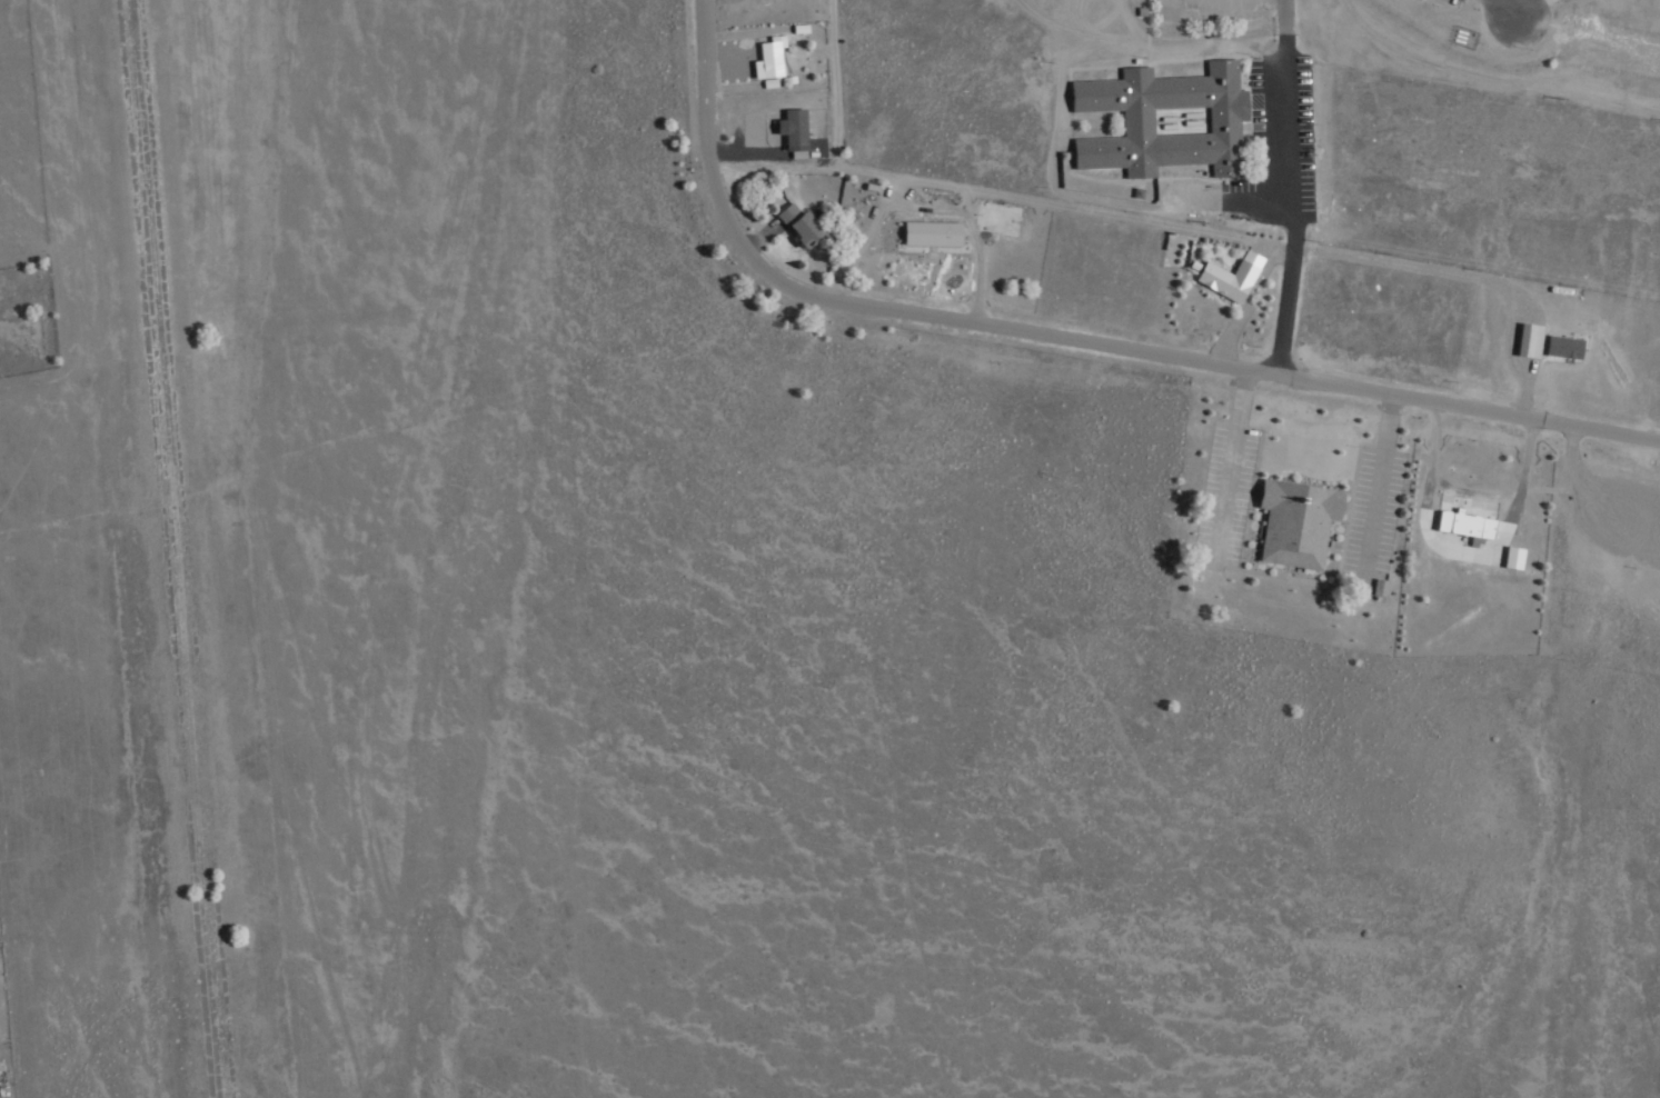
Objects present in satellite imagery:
building: (771, 58)
building: (1160, 120)
building: (795, 128)
road: (832, 138)
road: (1290, 187)
building: (803, 223)
building: (934, 233)
building: (1233, 276)
road: (1066, 338)
building: (1532, 339)
building: (1567, 346)
building: (1289, 518)
building: (1457, 519)
road: (468, 548)
airport runway: (175, 549)
building: (1504, 553)
building: (1382, 587)

